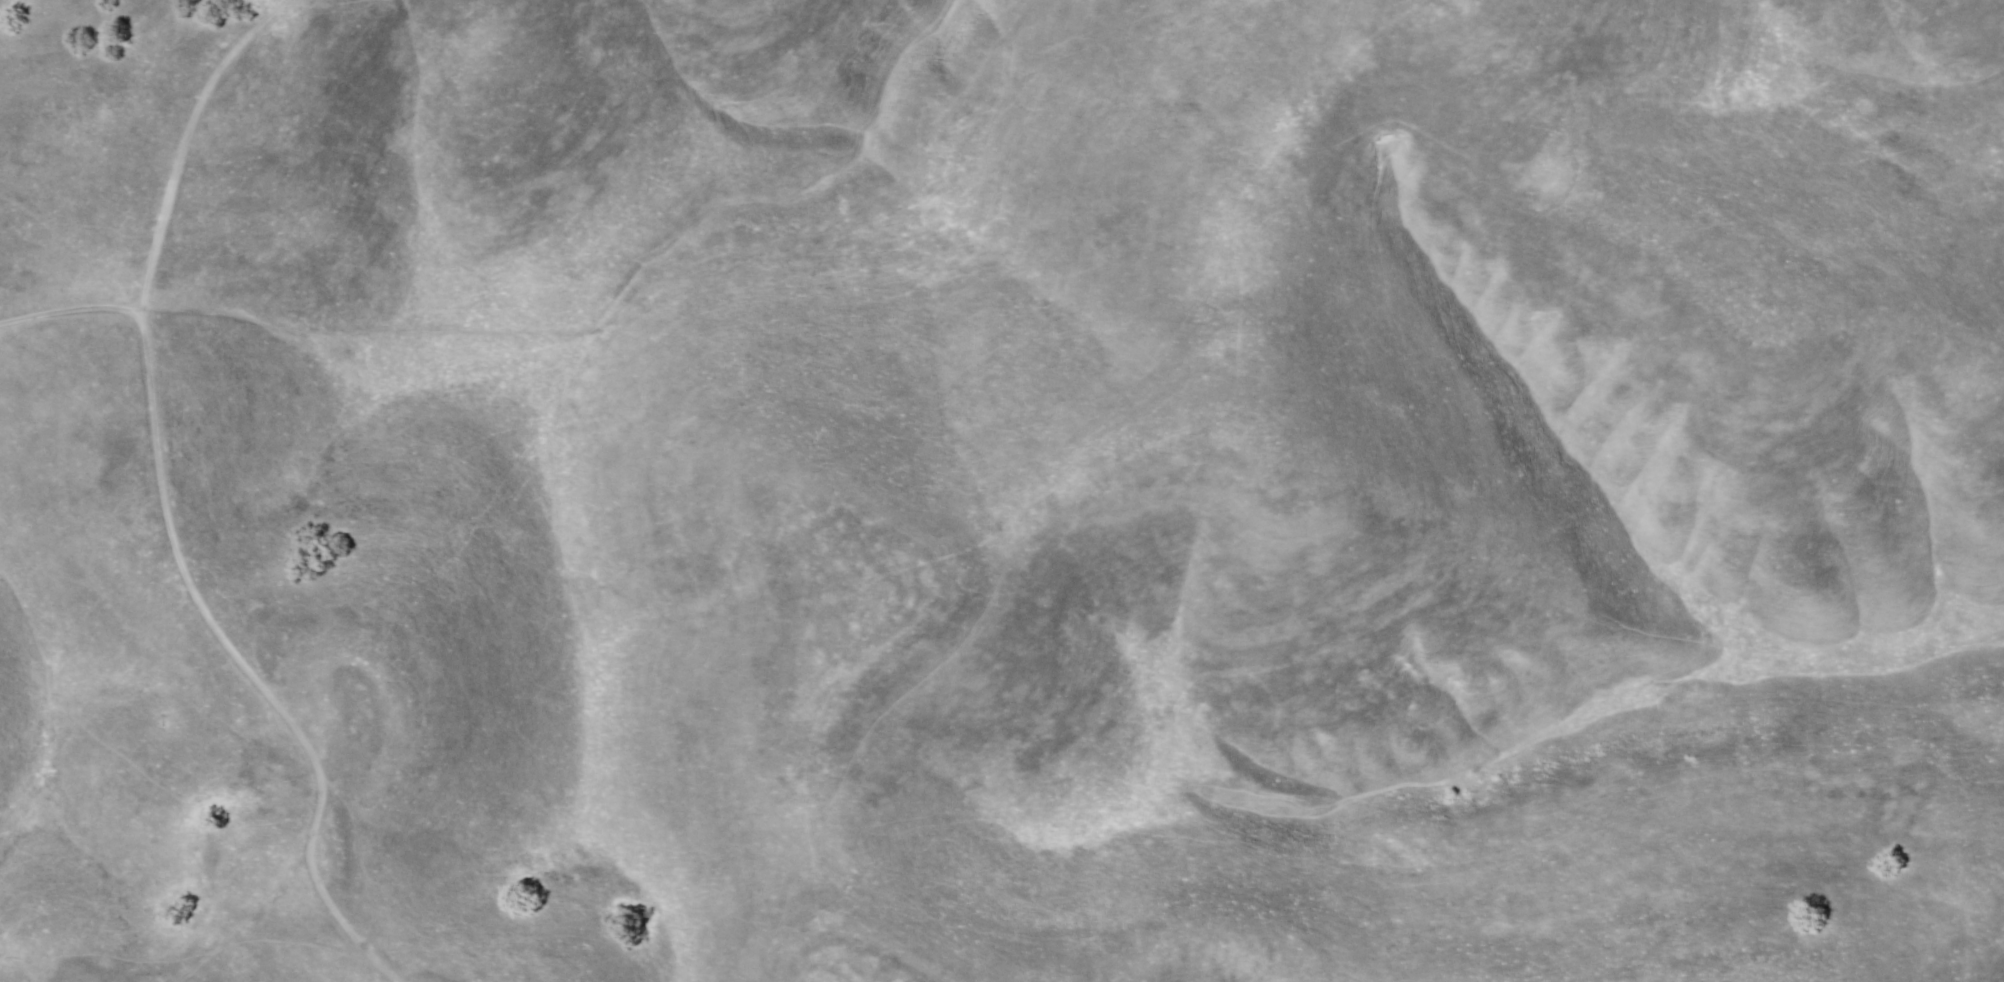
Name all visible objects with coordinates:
road: (72, 308)
road: (161, 483)
road: (278, 946)

